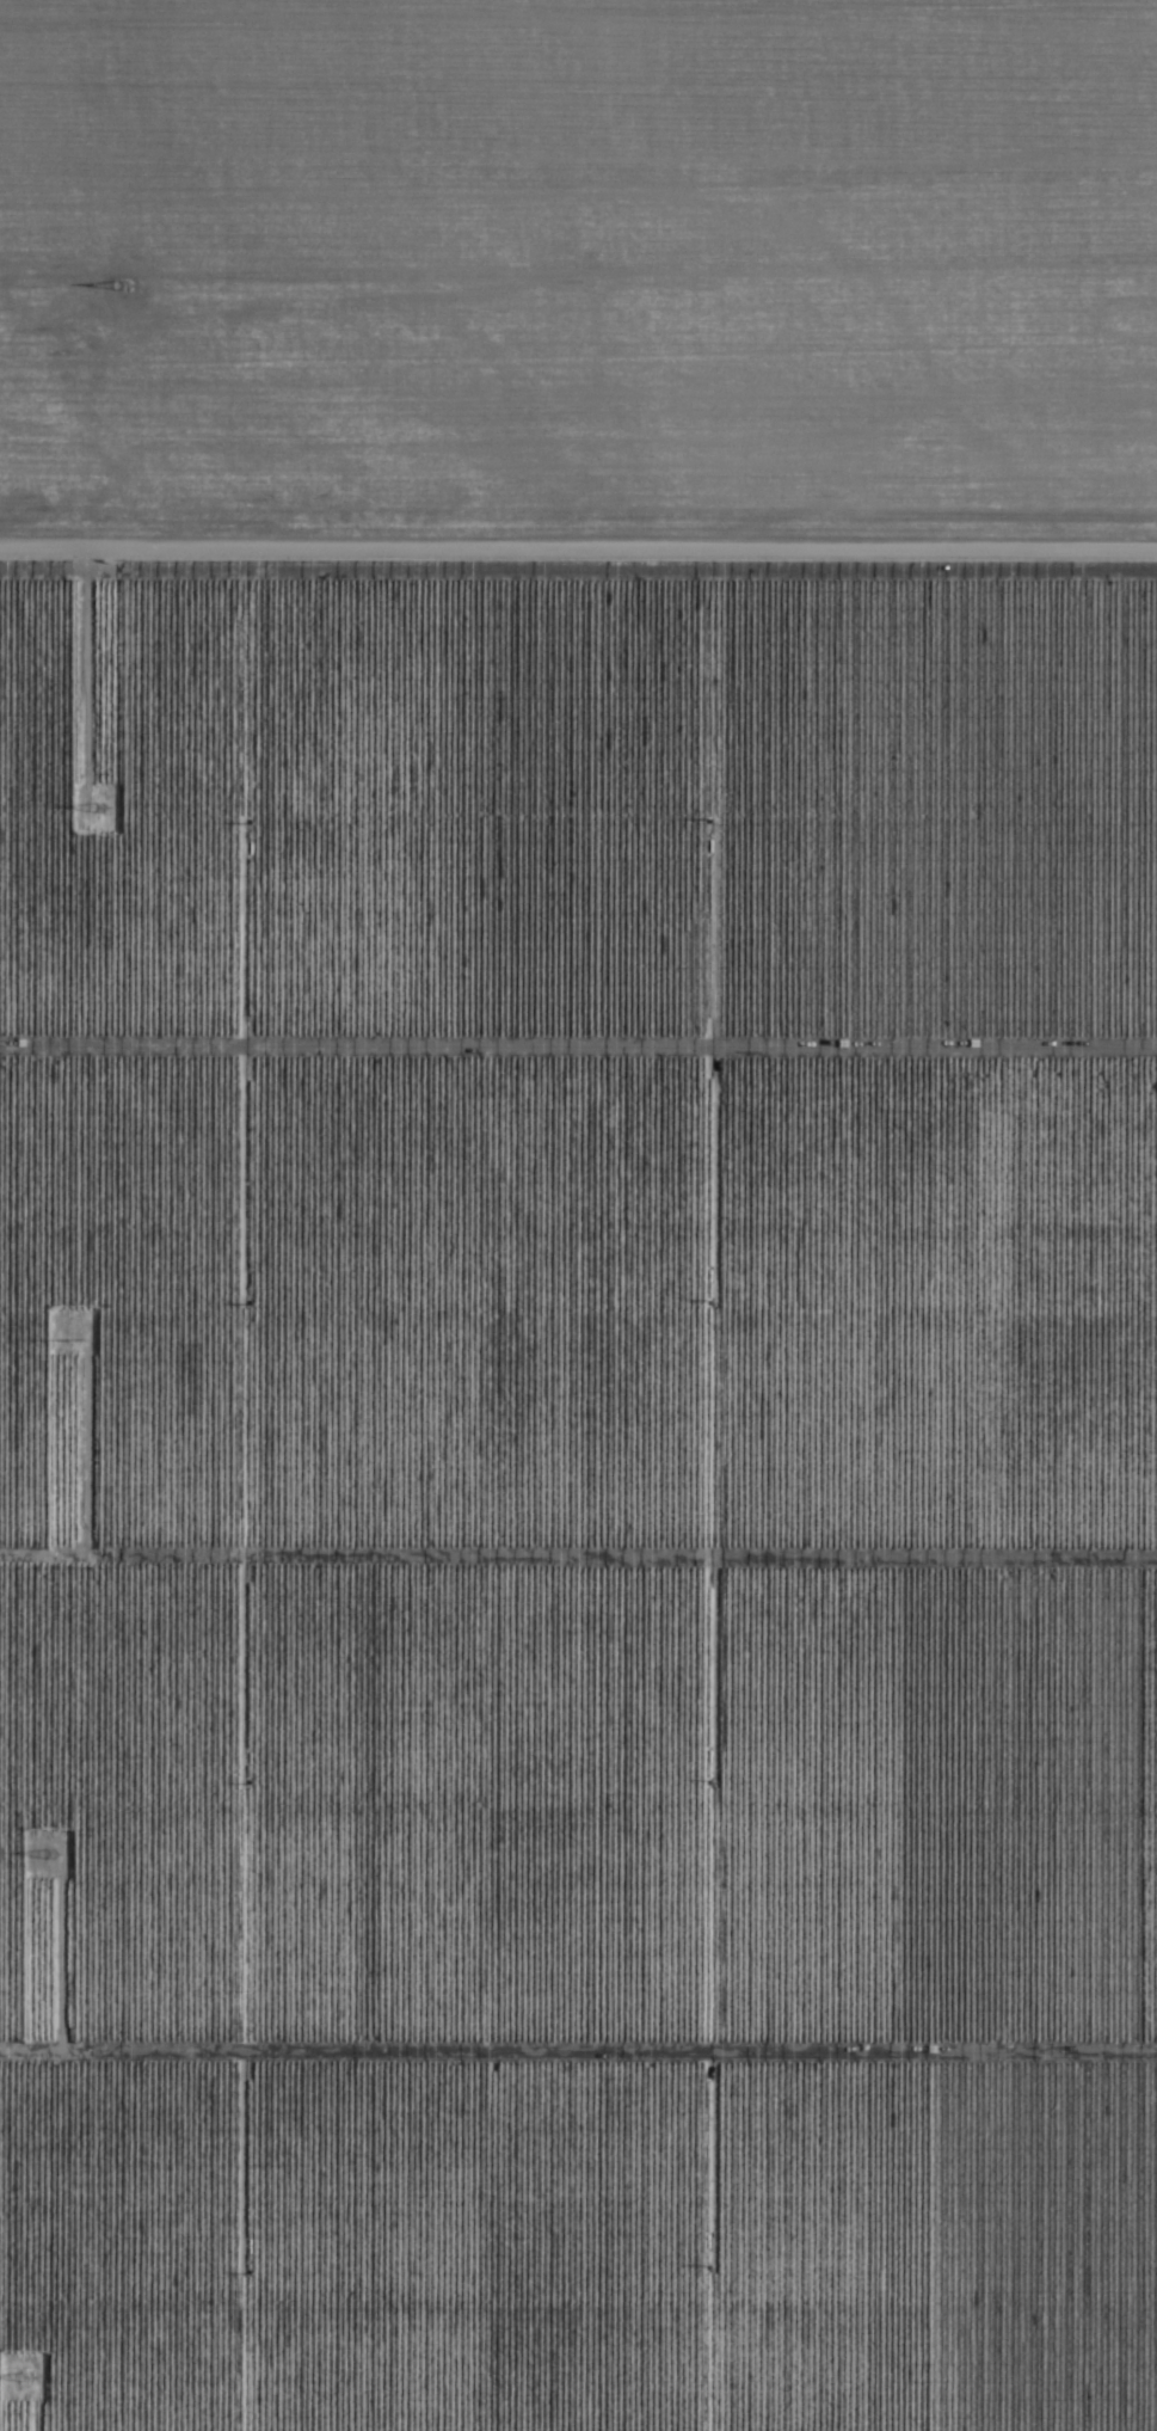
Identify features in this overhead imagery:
power tower: (125, 288)
power tower: (103, 809)
crop: (578, 1215)
power tower: (78, 1336)
power tower: (50, 1856)
power tower: (29, 2378)

